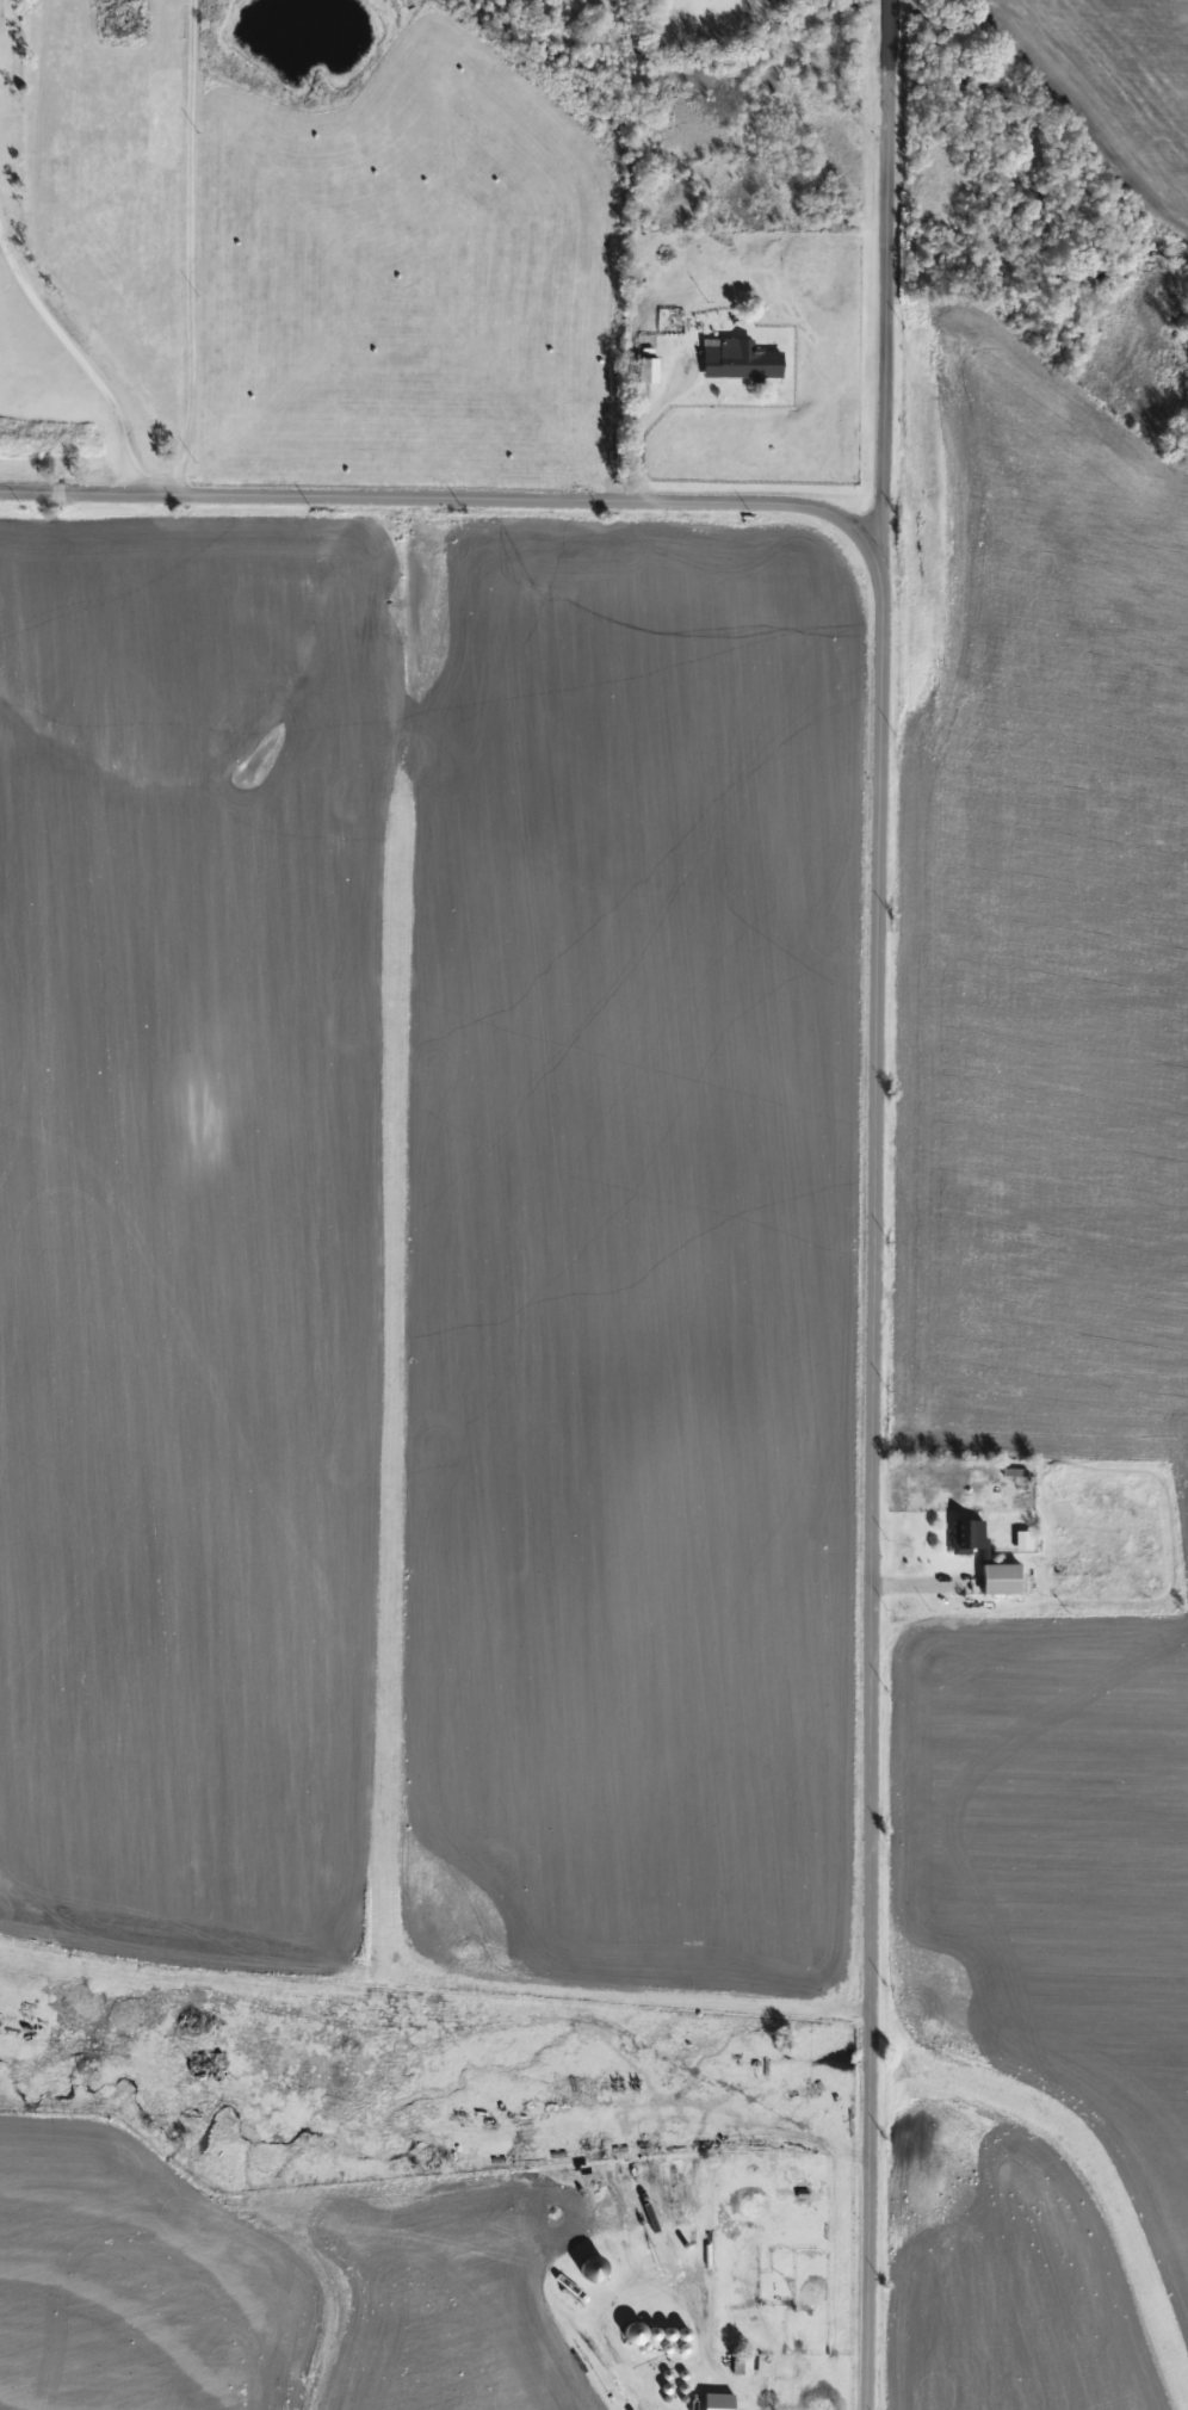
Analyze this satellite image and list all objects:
road: (190, 253)
road: (896, 258)
road: (79, 360)
building: (737, 360)
building: (645, 370)
road: (639, 428)
road: (450, 498)
road: (883, 1463)
building: (966, 1535)
building: (1020, 1540)
building: (1079, 1568)
building: (998, 1577)
building: (774, 2254)
building: (738, 2363)
road: (712, 2371)
building: (714, 2402)

